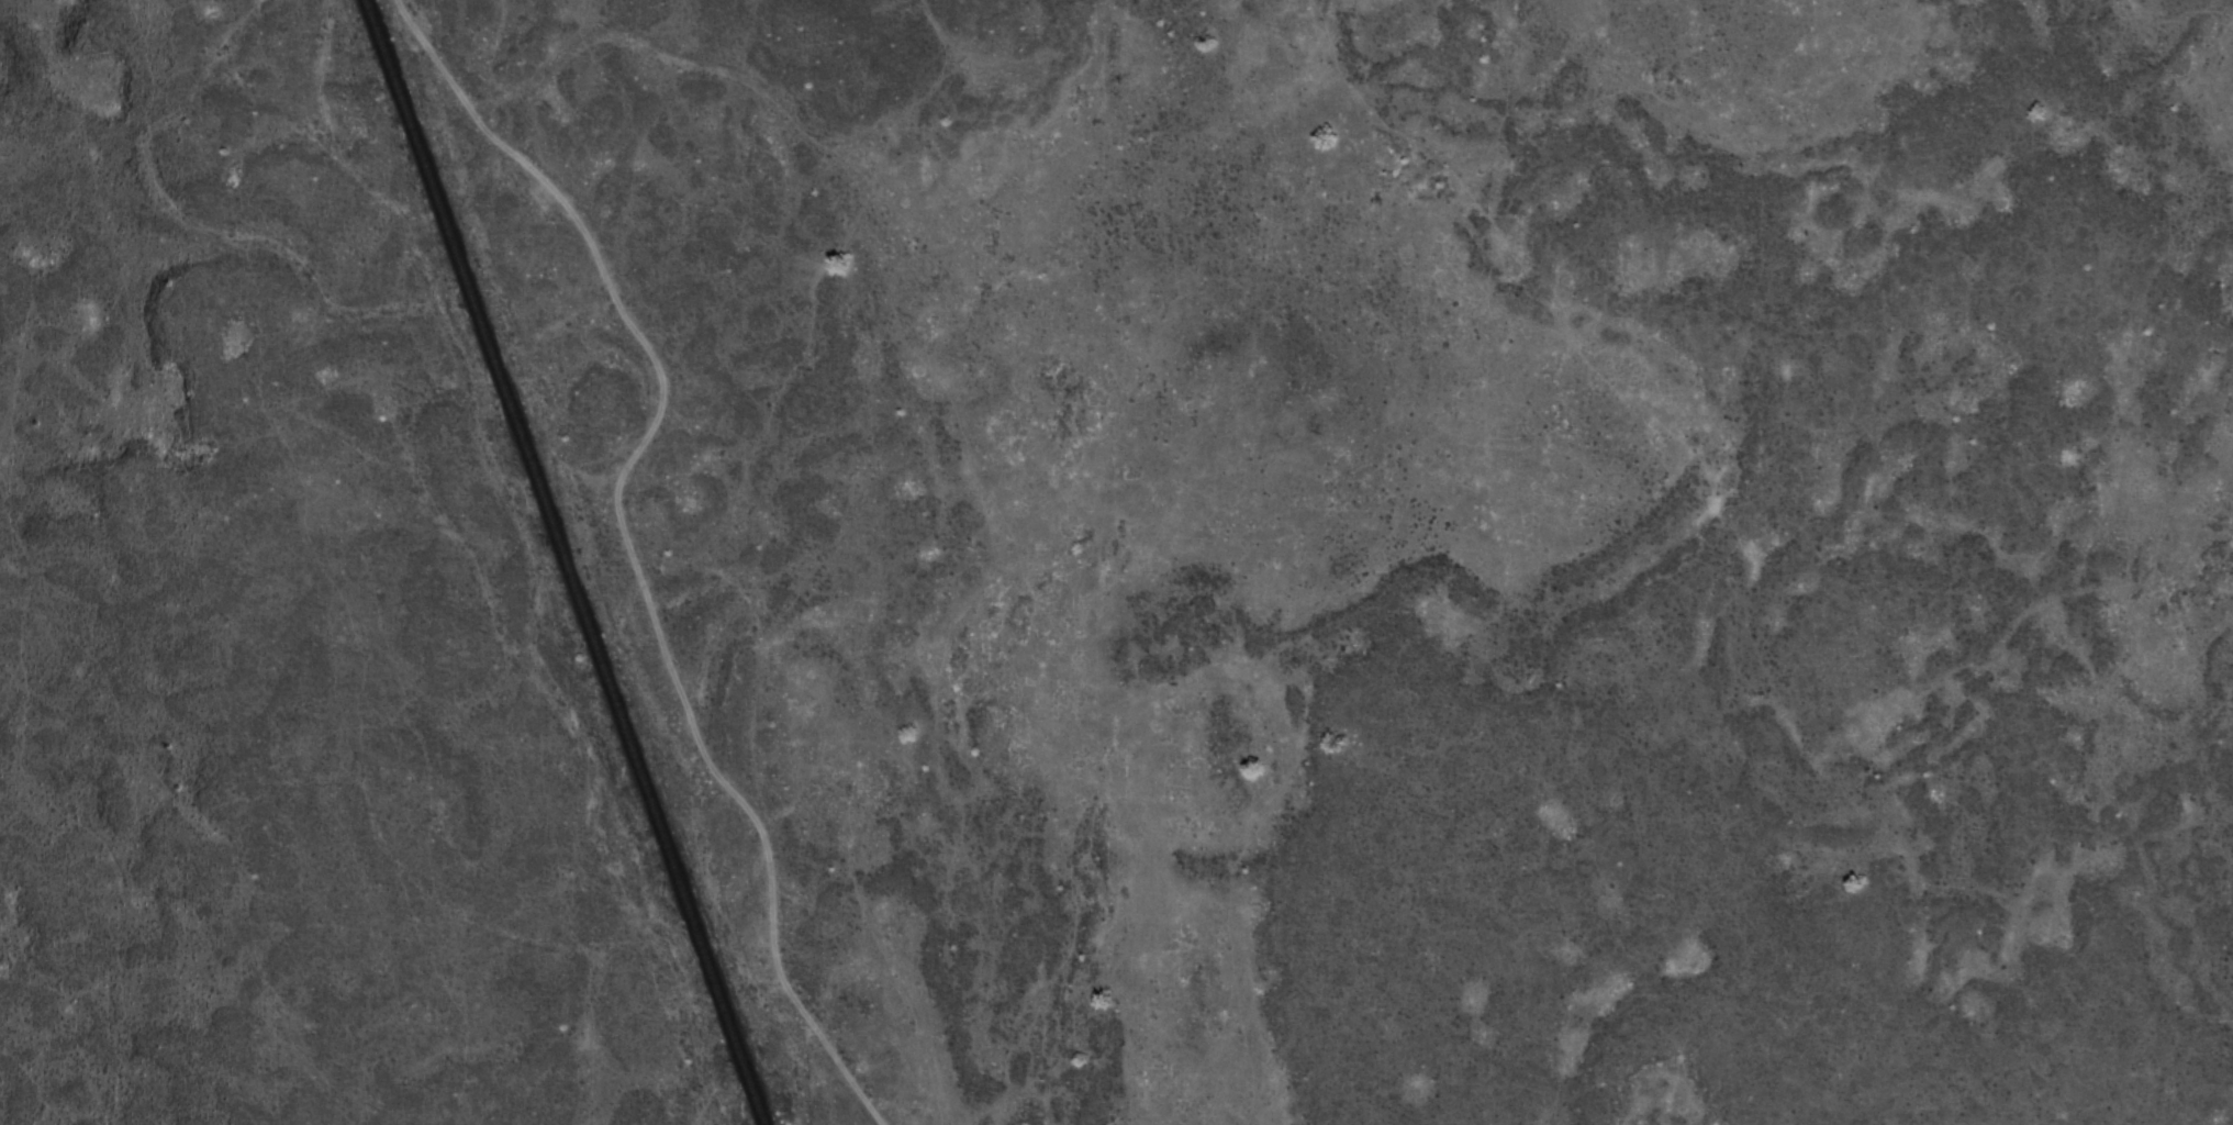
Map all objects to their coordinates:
road: (628, 545)
railway: (560, 562)

